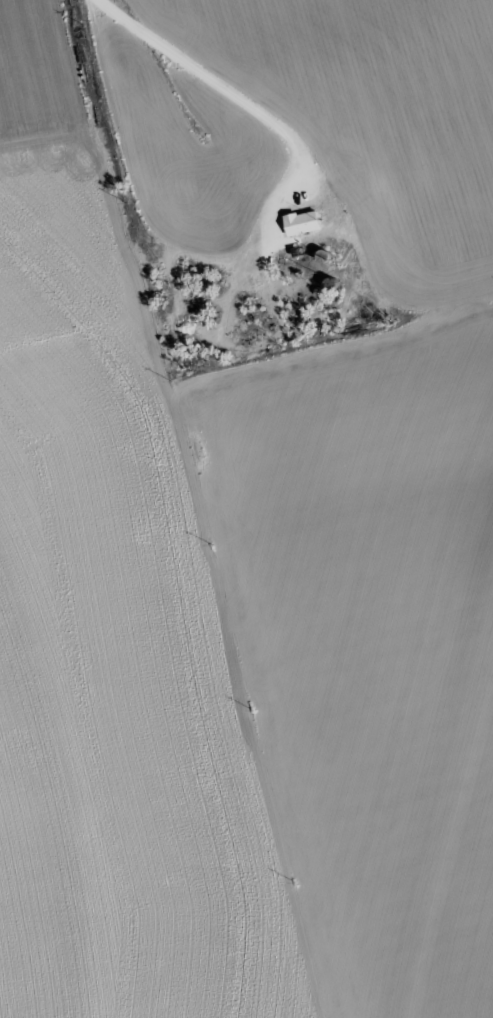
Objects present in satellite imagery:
building: (301, 222)

